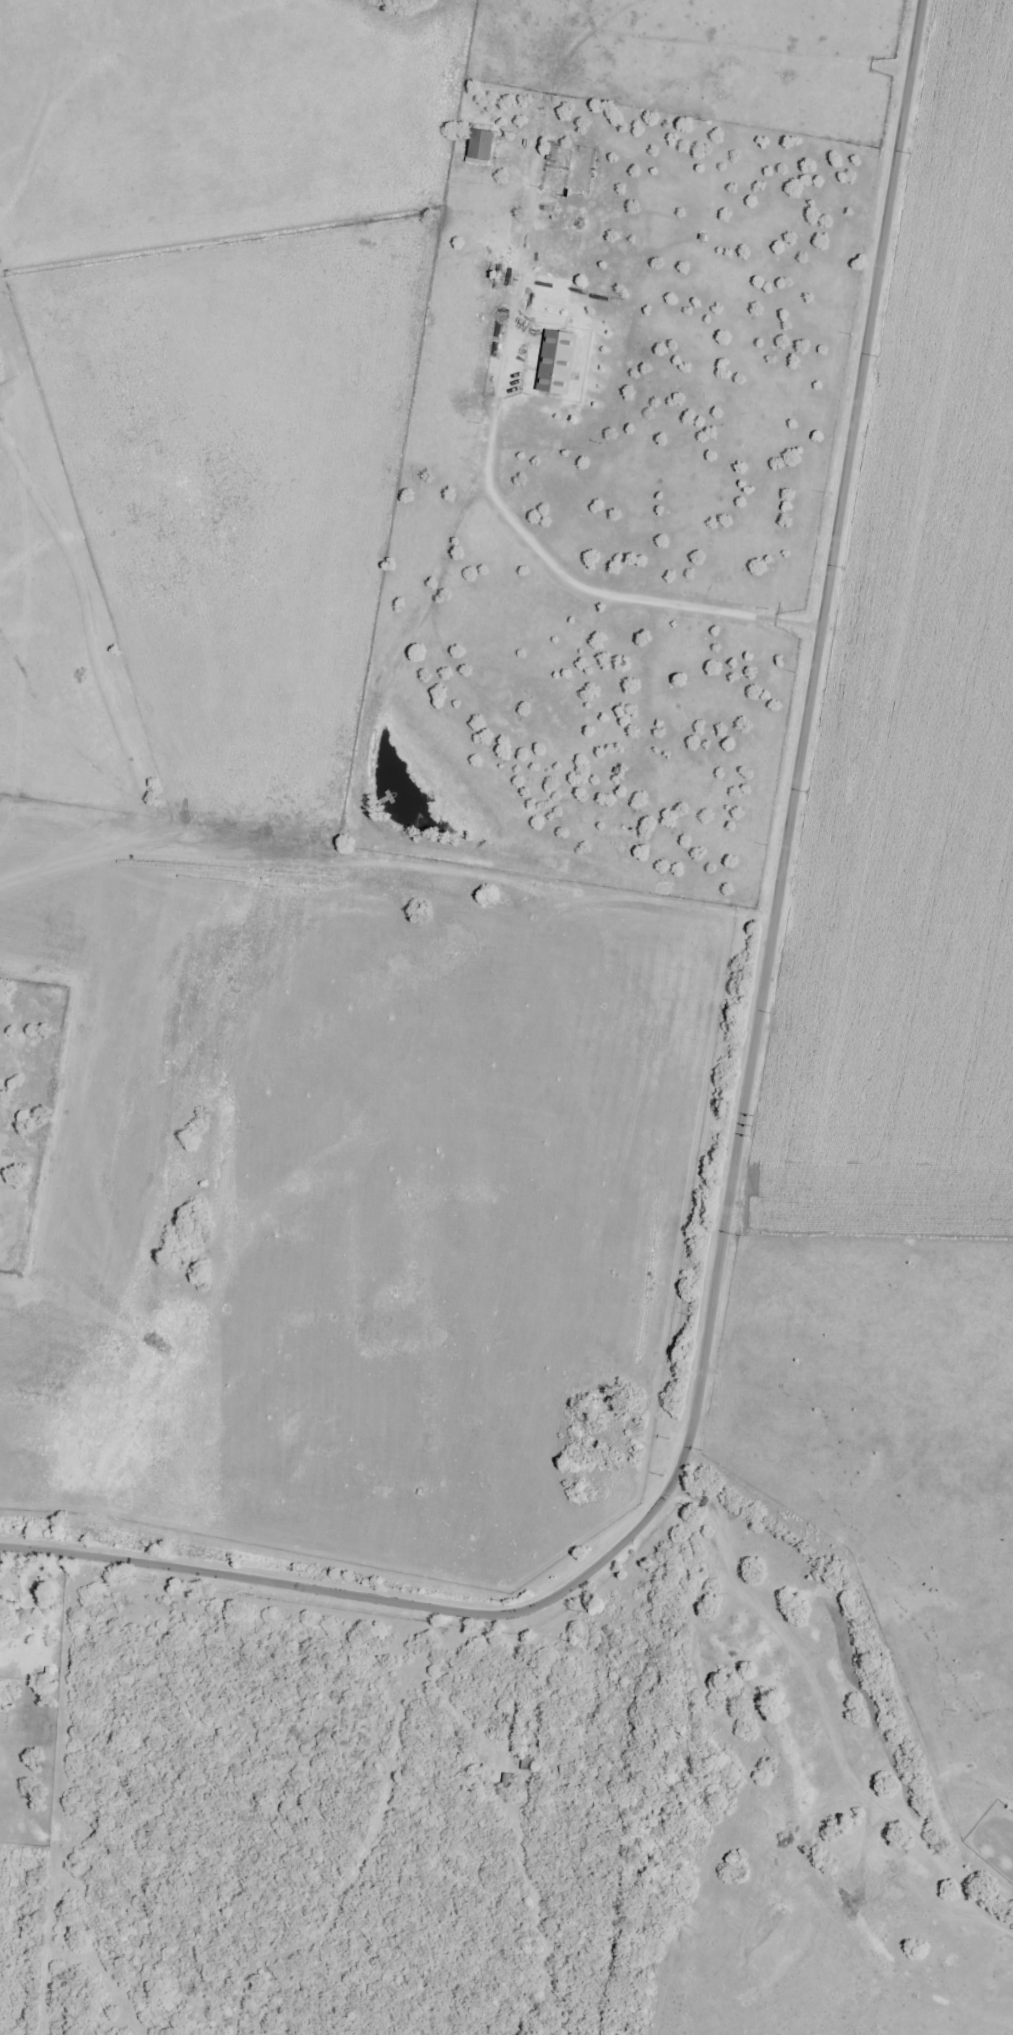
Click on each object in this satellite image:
building: (476, 146)
building: (548, 152)
building: (559, 362)
road: (790, 774)
park: (22, 1096)
road: (329, 1594)

